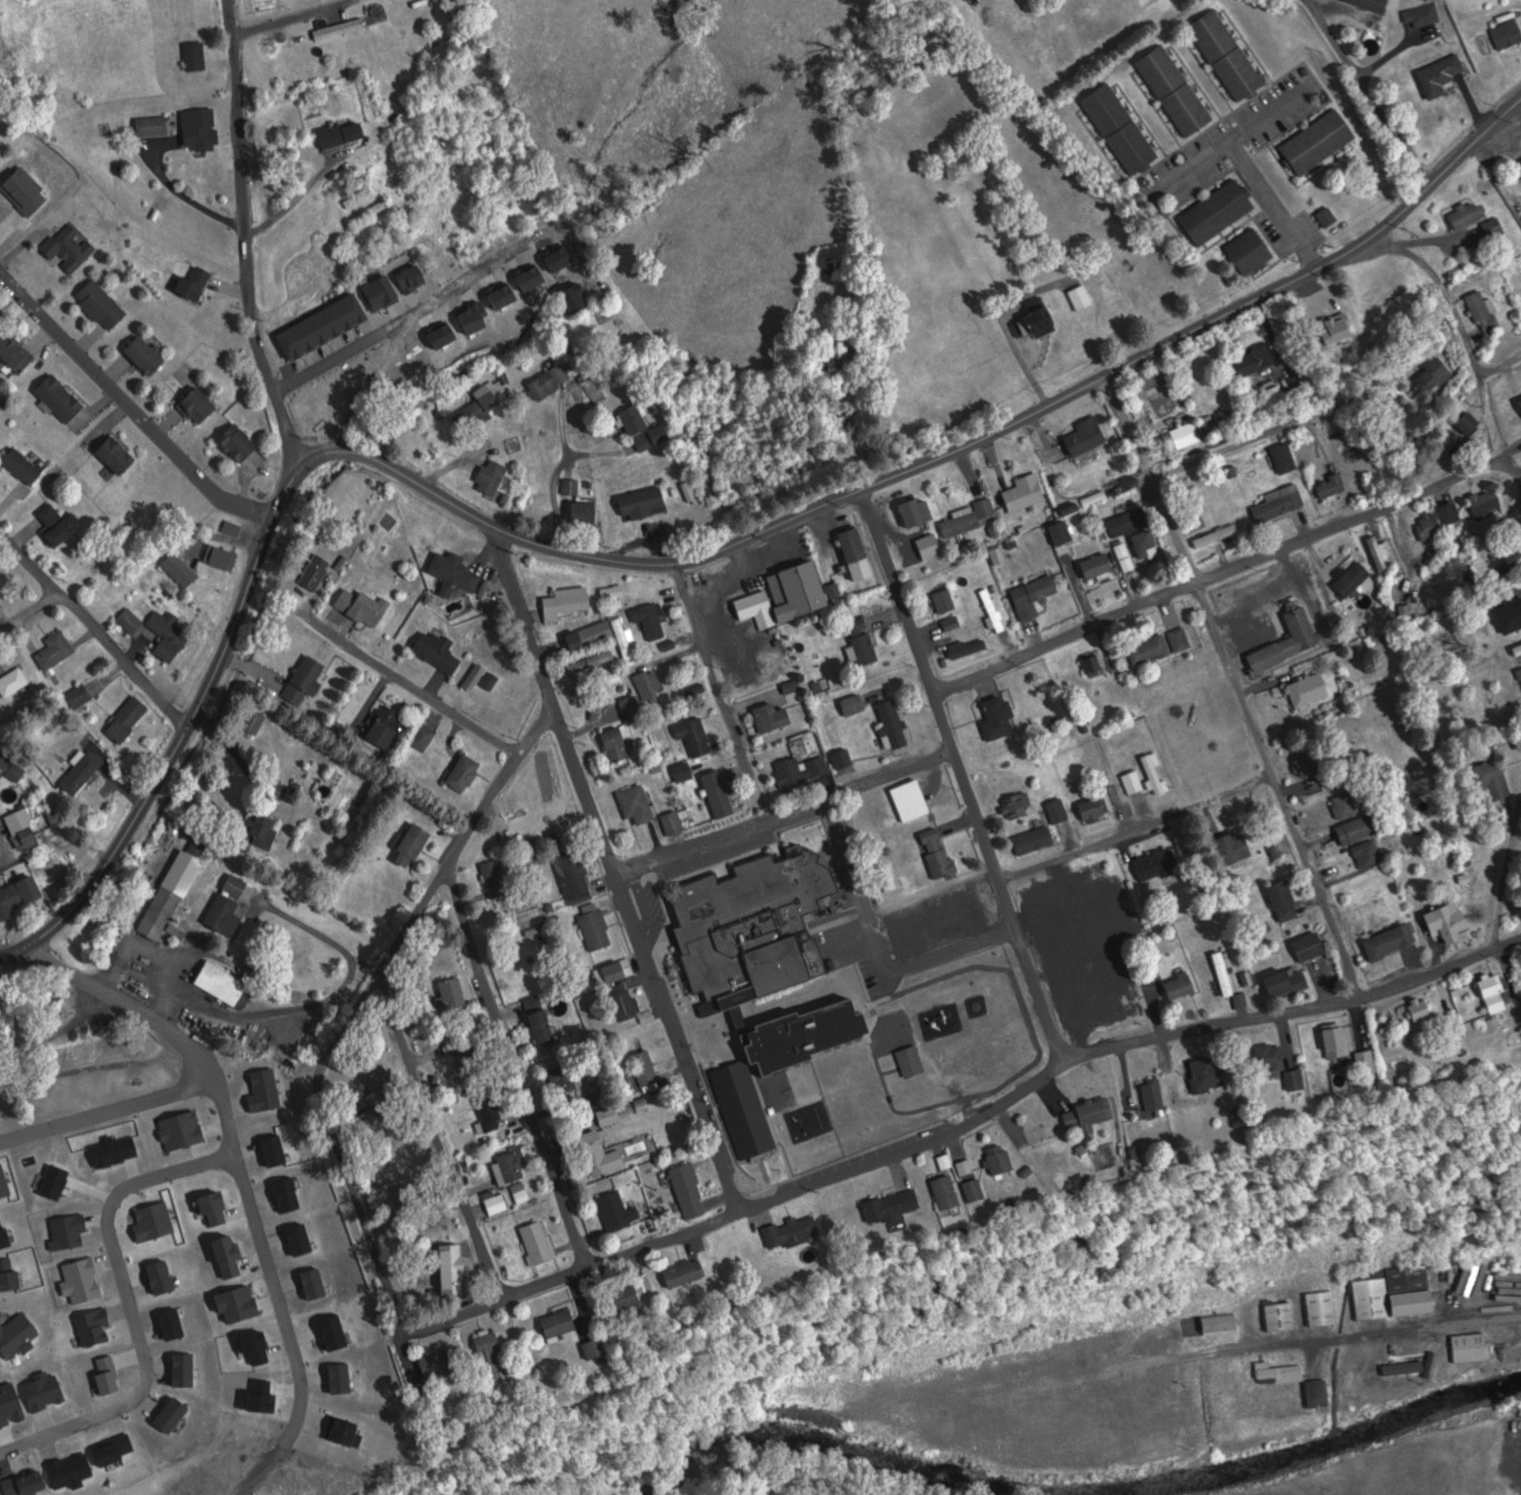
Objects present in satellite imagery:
building: (1376, 4)
building: (1423, 13)
building: (1509, 34)
building: (1229, 55)
building: (197, 56)
building: (1444, 77)
building: (1177, 90)
road: (1375, 93)
building: (155, 126)
building: (1123, 129)
building: (205, 130)
building: (340, 135)
building: (1320, 142)
building: (0, 153)
building: (1520, 161)
building: (374, 211)
building: (1220, 211)
building: (1470, 215)
building: (1330, 217)
building: (1496, 227)
road: (246, 236)
building: (72, 248)
building: (1253, 251)
road: (1327, 259)
building: (195, 284)
road: (1387, 289)
building: (1083, 296)
road: (1431, 301)
building: (103, 304)
road: (415, 311)
building: (1485, 311)
building: (1039, 319)
building: (16, 352)
building: (139, 355)
building: (1257, 359)
road: (1500, 361)
building: (1434, 374)
building: (553, 380)
building: (62, 398)
road: (127, 404)
building: (193, 405)
building: (482, 406)
building: (636, 418)
road: (1232, 432)
road: (982, 433)
building: (1189, 434)
building: (1088, 436)
building: (654, 437)
building: (241, 443)
building: (112, 454)
building: (1286, 457)
building: (24, 466)
road: (556, 473)
building: (488, 477)
road: (1520, 477)
building: (1333, 486)
building: (1027, 492)
building: (637, 501)
building: (1489, 503)
building: (1281, 505)
building: (587, 510)
building: (919, 511)
building: (969, 518)
building: (1130, 521)
building: (60, 524)
building: (1064, 532)
building: (1221, 535)
road: (1402, 543)
building: (1149, 544)
road: (626, 548)
building: (1380, 552)
building: (859, 553)
road: (574, 554)
building: (224, 556)
building: (1126, 556)
building: (1100, 565)
building: (183, 569)
road: (1226, 570)
building: (317, 571)
building: (449, 573)
building: (1354, 578)
building: (615, 591)
building: (787, 596)
building: (1030, 596)
building: (947, 600)
building: (1, 601)
building: (568, 602)
building: (359, 606)
road: (29, 611)
building: (1507, 614)
road: (909, 617)
building: (133, 620)
building: (653, 620)
building: (954, 622)
road: (96, 628)
building: (171, 635)
building: (612, 636)
building: (1181, 638)
building: (864, 641)
building: (1289, 641)
building: (969, 647)
building: (51, 649)
building: (1150, 649)
building: (1518, 650)
building: (434, 651)
road: (710, 658)
building: (1094, 663)
building: (1520, 670)
building: (305, 676)
building: (476, 676)
building: (11, 681)
building: (651, 684)
road: (1235, 684)
building: (1304, 690)
road: (422, 691)
building: (82, 694)
road: (551, 701)
building: (856, 704)
building: (632, 708)
building: (994, 717)
building: (769, 718)
building: (123, 719)
building: (256, 720)
building: (895, 725)
building: (388, 726)
building: (835, 727)
road: (183, 735)
building: (425, 735)
building: (697, 735)
building: (618, 743)
building: (6, 757)
building: (845, 757)
building: (1311, 766)
building: (686, 770)
building: (804, 770)
building: (1157, 771)
building: (78, 772)
building: (459, 773)
building: (1495, 779)
building: (1135, 781)
building: (721, 792)
building: (913, 799)
building: (633, 804)
building: (1020, 805)
building: (1346, 805)
building: (1059, 809)
building: (1096, 809)
road: (785, 813)
building: (675, 822)
road: (1136, 826)
building: (25, 828)
building: (1358, 829)
building: (266, 831)
building: (1035, 839)
building: (415, 845)
building: (1235, 846)
building: (940, 853)
building: (1370, 853)
parking lot: (714, 858)
building: (1158, 865)
road: (1506, 871)
building: (578, 876)
building: (498, 878)
building: (1075, 882)
building: (238, 884)
building: (173, 895)
building: (1285, 900)
building: (10, 901)
building: (1044, 901)
road: (1009, 902)
building: (965, 903)
building: (225, 912)
building: (1450, 922)
building: (757, 923)
parking lot: (843, 926)
building: (598, 929)
building: (1385, 941)
building: (1311, 946)
road: (1441, 968)
building: (616, 970)
road: (652, 974)
building: (1229, 977)
building: (1288, 981)
building: (224, 983)
building: (1182, 986)
building: (1498, 992)
road: (115, 993)
building: (454, 993)
building: (626, 1000)
parking lot: (685, 1002)
road: (318, 1004)
building: (1006, 1004)
road: (358, 1009)
building: (1426, 1010)
building: (542, 1020)
road: (1212, 1027)
road: (62, 1032)
building: (1342, 1040)
building: (995, 1056)
building: (472, 1057)
building: (1277, 1057)
building: (912, 1060)
building: (1376, 1061)
road: (514, 1065)
building: (648, 1070)
building: (1205, 1072)
building: (231, 1074)
building: (563, 1078)
building: (1305, 1079)
building: (262, 1090)
building: (604, 1093)
building: (833, 1093)
building: (1159, 1094)
road: (229, 1104)
building: (746, 1107)
road: (107, 1108)
building: (491, 1109)
building: (53, 1112)
building: (1094, 1113)
building: (611, 1114)
building: (178, 1129)
road: (443, 1137)
building: (105, 1142)
road: (715, 1142)
building: (291, 1143)
building: (82, 1145)
road: (909, 1149)
building: (597, 1152)
building: (9, 1156)
building: (1006, 1158)
building: (511, 1165)
building: (972, 1166)
building: (8, 1179)
building: (49, 1180)
building: (983, 1189)
building: (691, 1190)
building: (284, 1191)
building: (523, 1191)
building: (954, 1192)
building: (498, 1201)
building: (900, 1205)
building: (209, 1207)
building: (612, 1208)
building: (155, 1219)
building: (180, 1223)
building: (118, 1226)
building: (81, 1227)
building: (62, 1230)
building: (787, 1231)
building: (2, 1237)
building: (297, 1239)
building: (532, 1240)
building: (223, 1254)
building: (205, 1268)
building: (456, 1268)
road: (577, 1268)
building: (20, 1269)
building: (680, 1272)
building: (143, 1273)
building: (156, 1276)
building: (75, 1281)
building: (310, 1282)
building: (1398, 1293)
building: (632, 1299)
building: (233, 1302)
building: (4, 1303)
road: (130, 1306)
building: (1324, 1308)
building: (1283, 1316)
building: (169, 1321)
building: (554, 1321)
building: (1222, 1323)
building: (89, 1326)
building: (330, 1328)
building: (16, 1335)
road: (289, 1337)
building: (252, 1345)
road: (1306, 1346)
building: (138, 1347)
building: (359, 1348)
building: (602, 1348)
building: (227, 1351)
building: (495, 1353)
building: (439, 1365)
building: (51, 1367)
building: (178, 1367)
building: (105, 1373)
building: (1280, 1373)
building: (336, 1376)
building: (355, 1381)
building: (39, 1389)
building: (256, 1396)
building: (7, 1404)
building: (150, 1406)
building: (165, 1413)
building: (349, 1421)
building: (88, 1425)
building: (337, 1429)
building: (113, 1448)
building: (67, 1471)
building: (21, 1483)
building: (370, 1484)
river: (1086, 1493)

